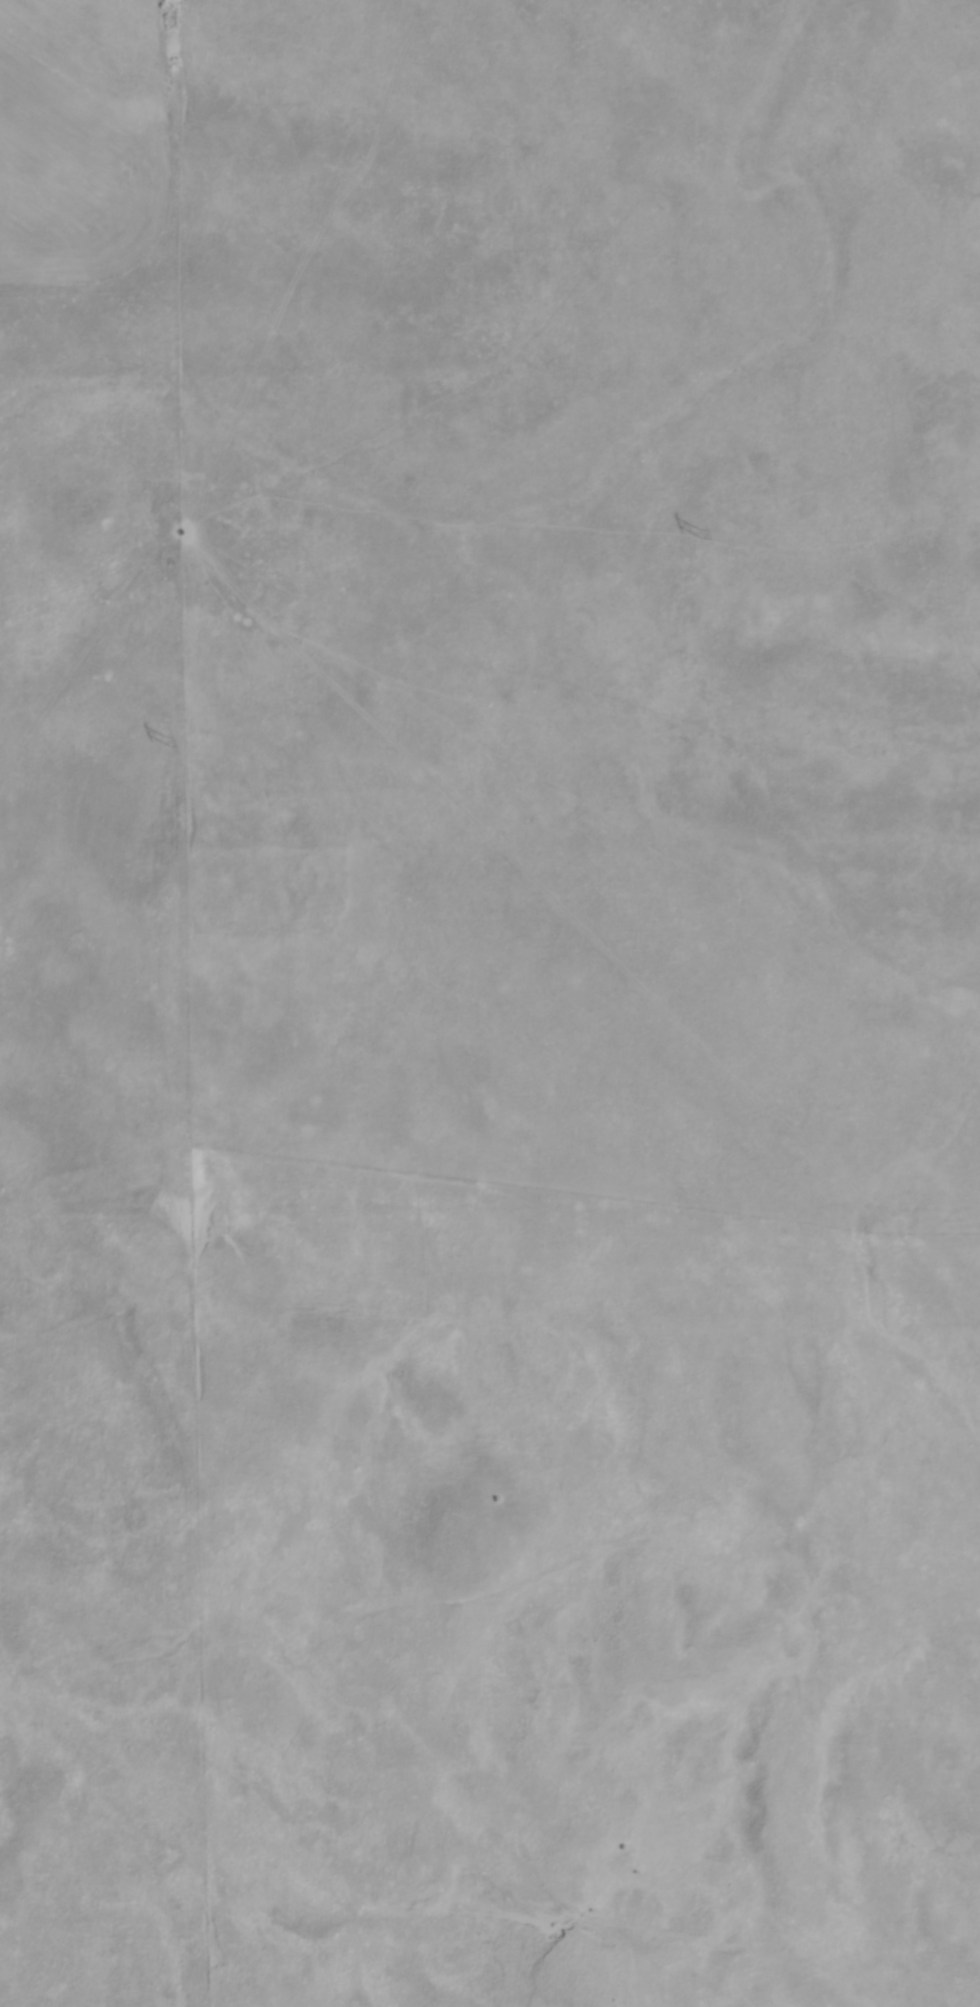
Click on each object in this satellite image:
power tower: (699, 536)
power tower: (167, 743)

